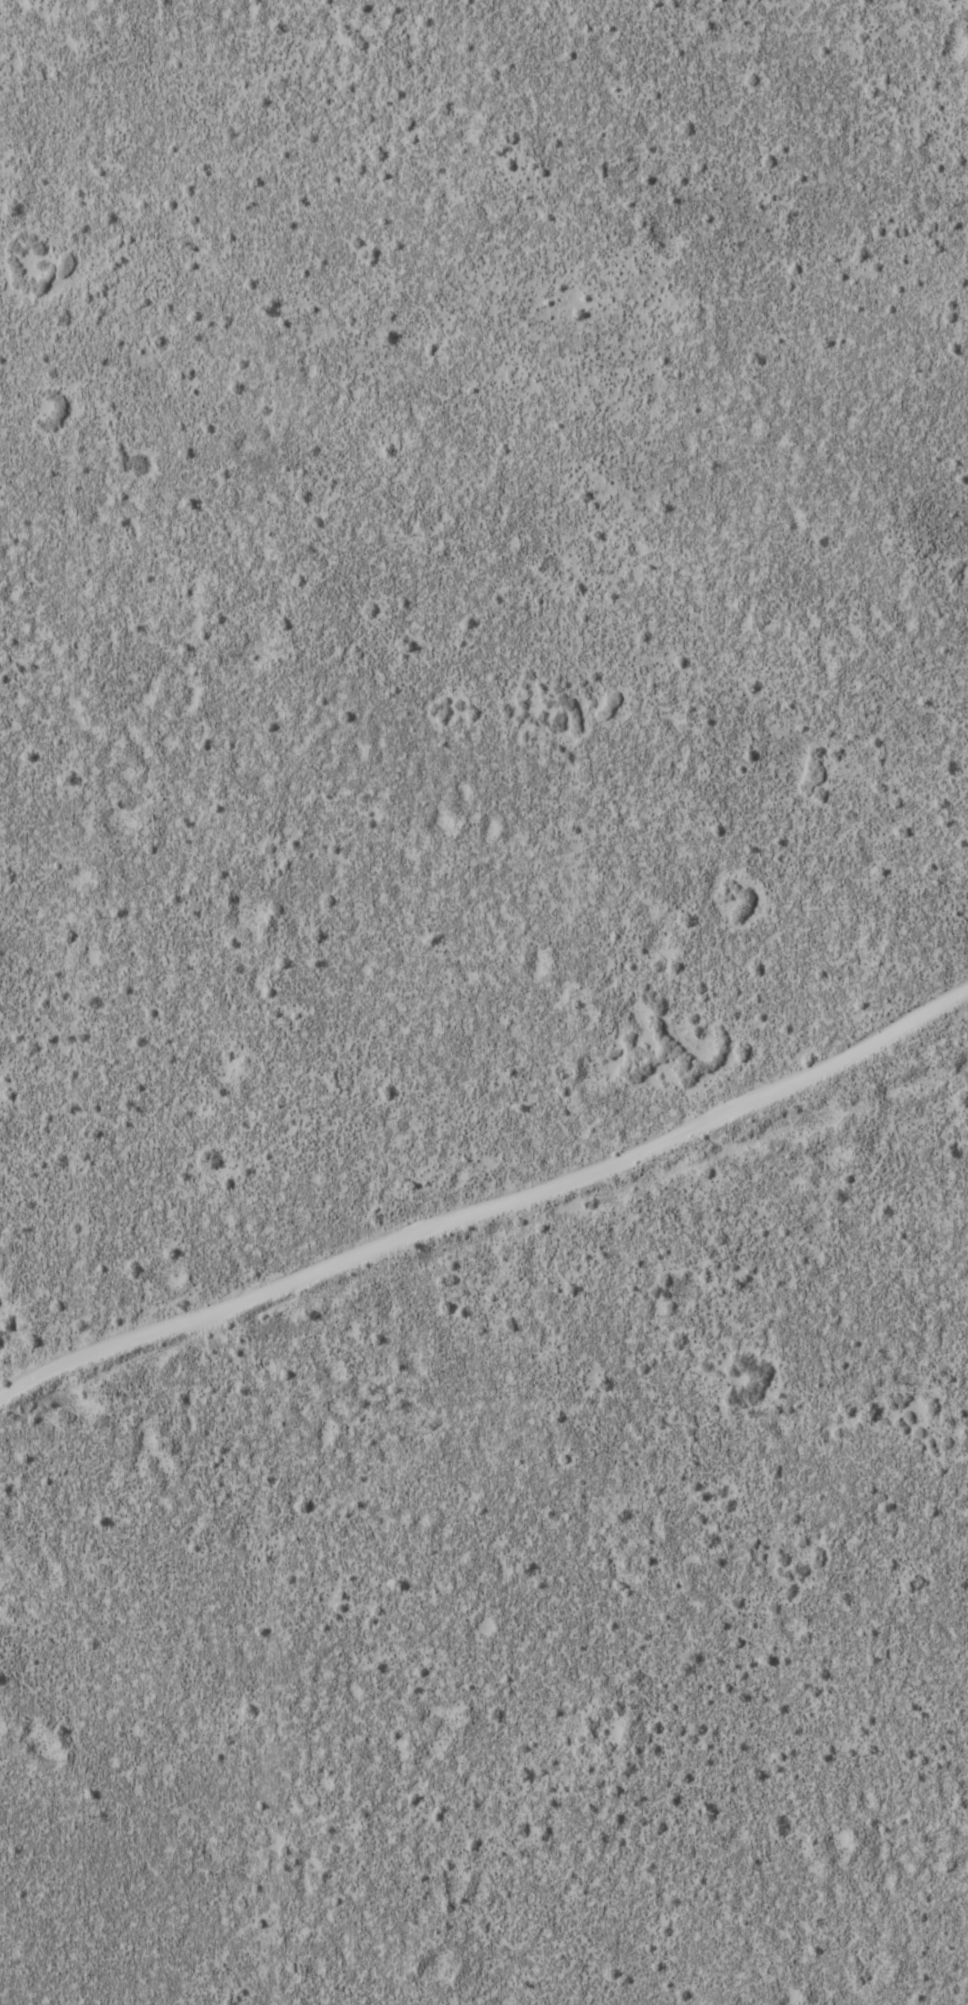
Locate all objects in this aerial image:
road: (489, 1203)

